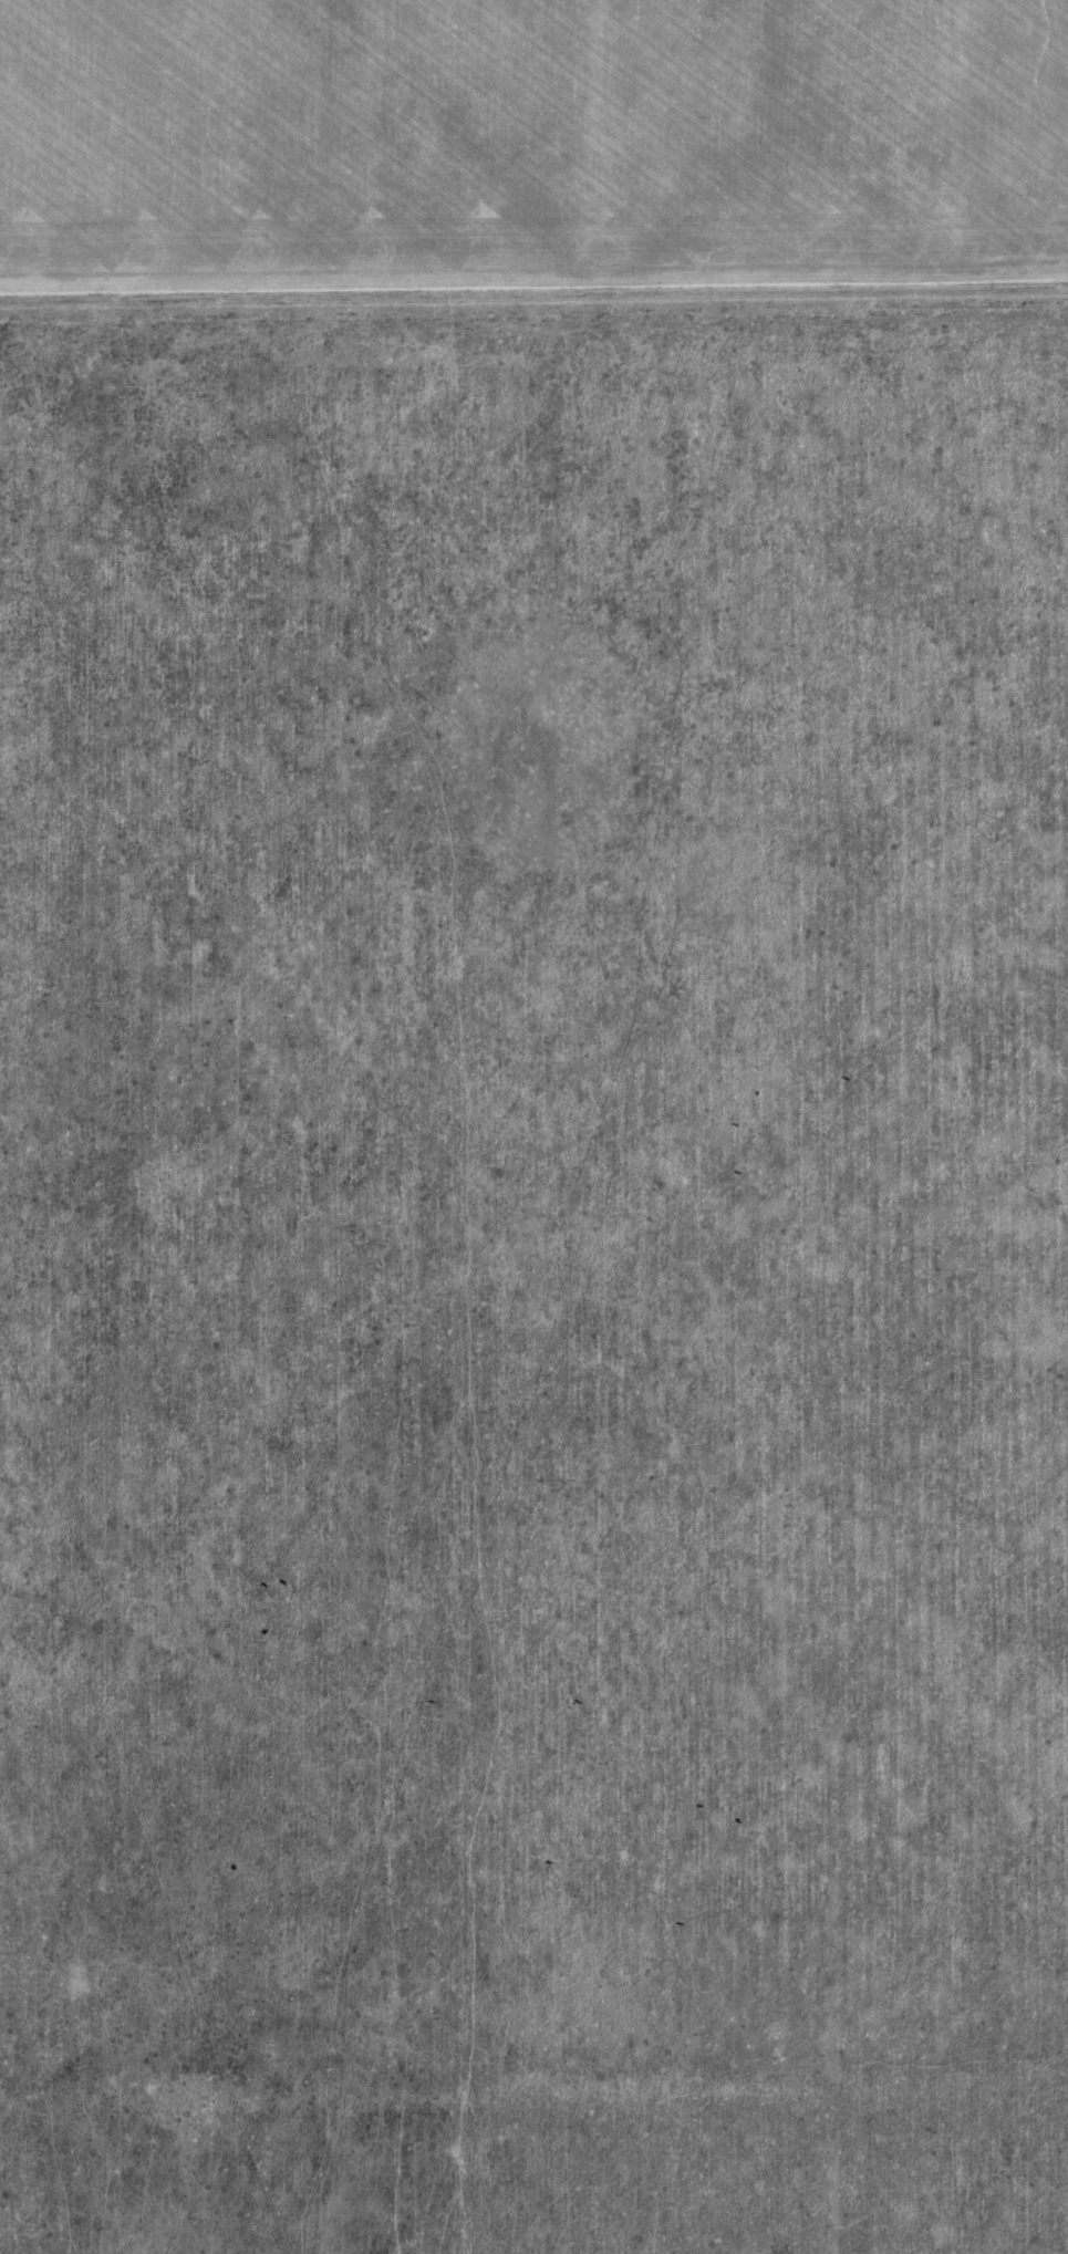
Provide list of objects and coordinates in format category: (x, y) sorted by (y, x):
road: (533, 264)

